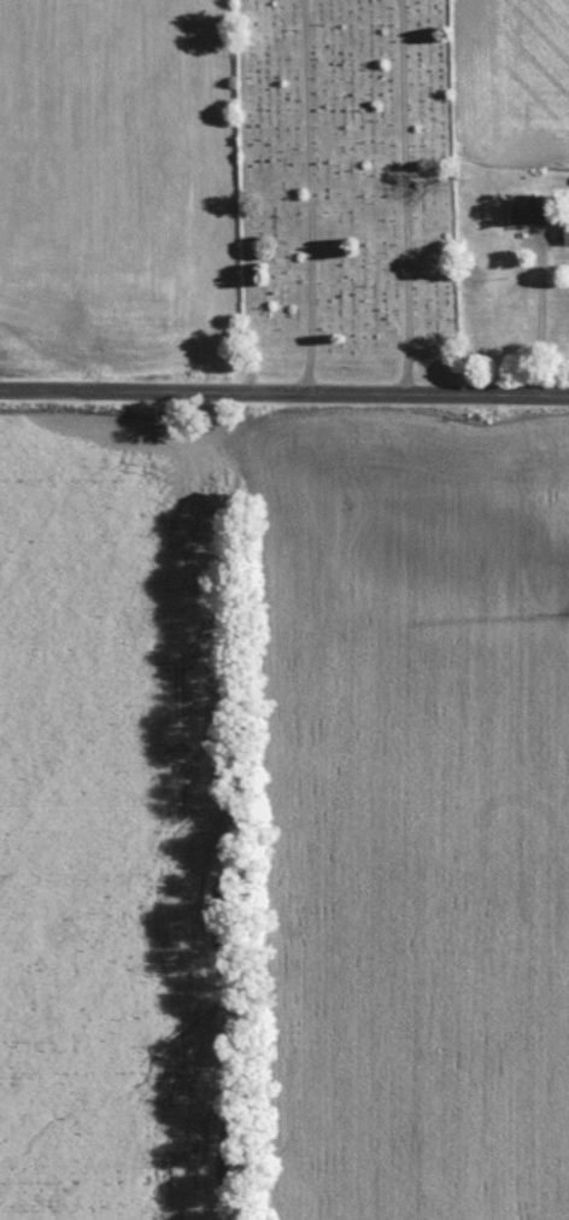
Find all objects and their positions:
park: (344, 181)
building: (527, 217)
building: (564, 237)
road: (284, 393)

